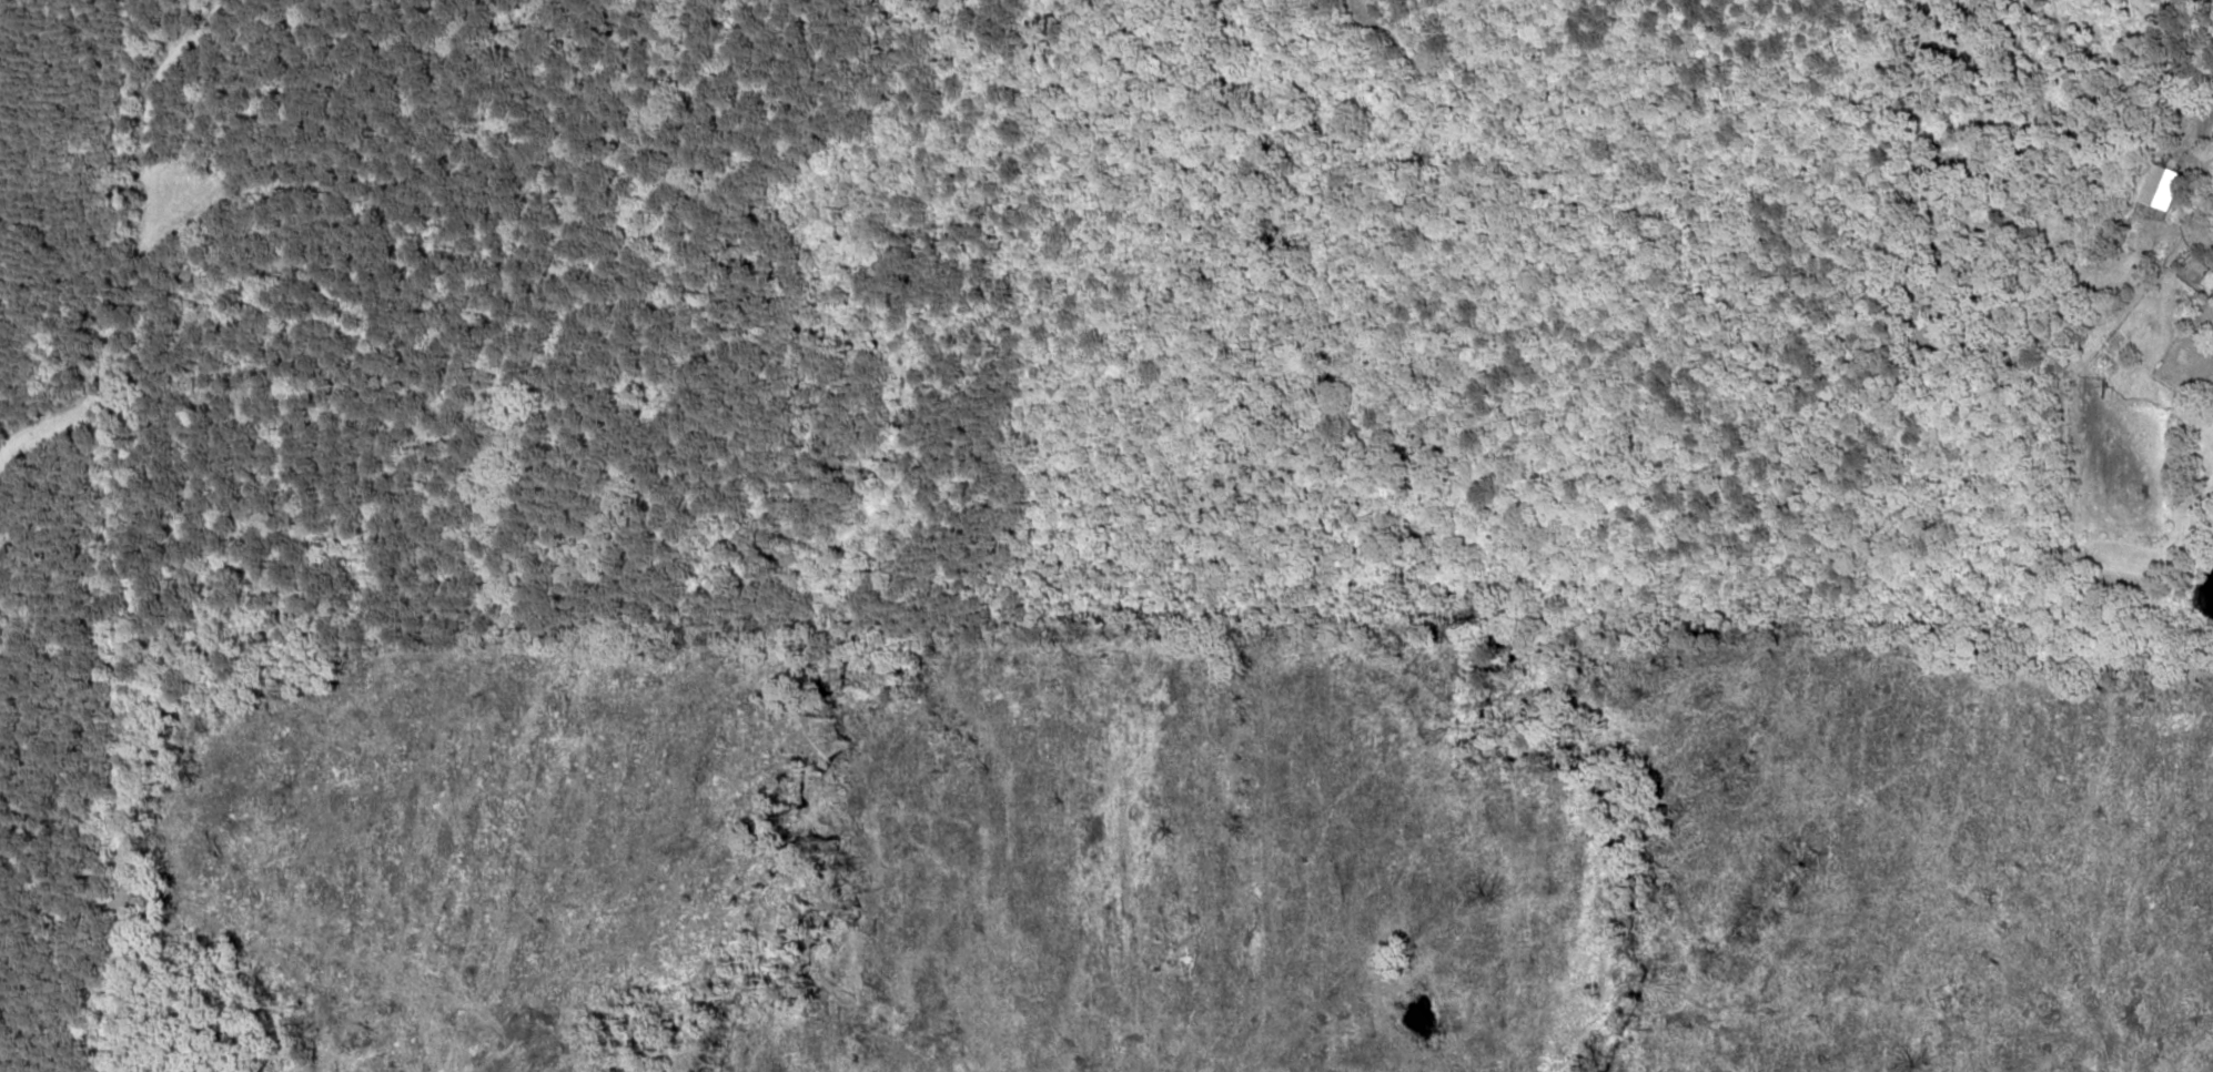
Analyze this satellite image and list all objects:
building: (2159, 191)

